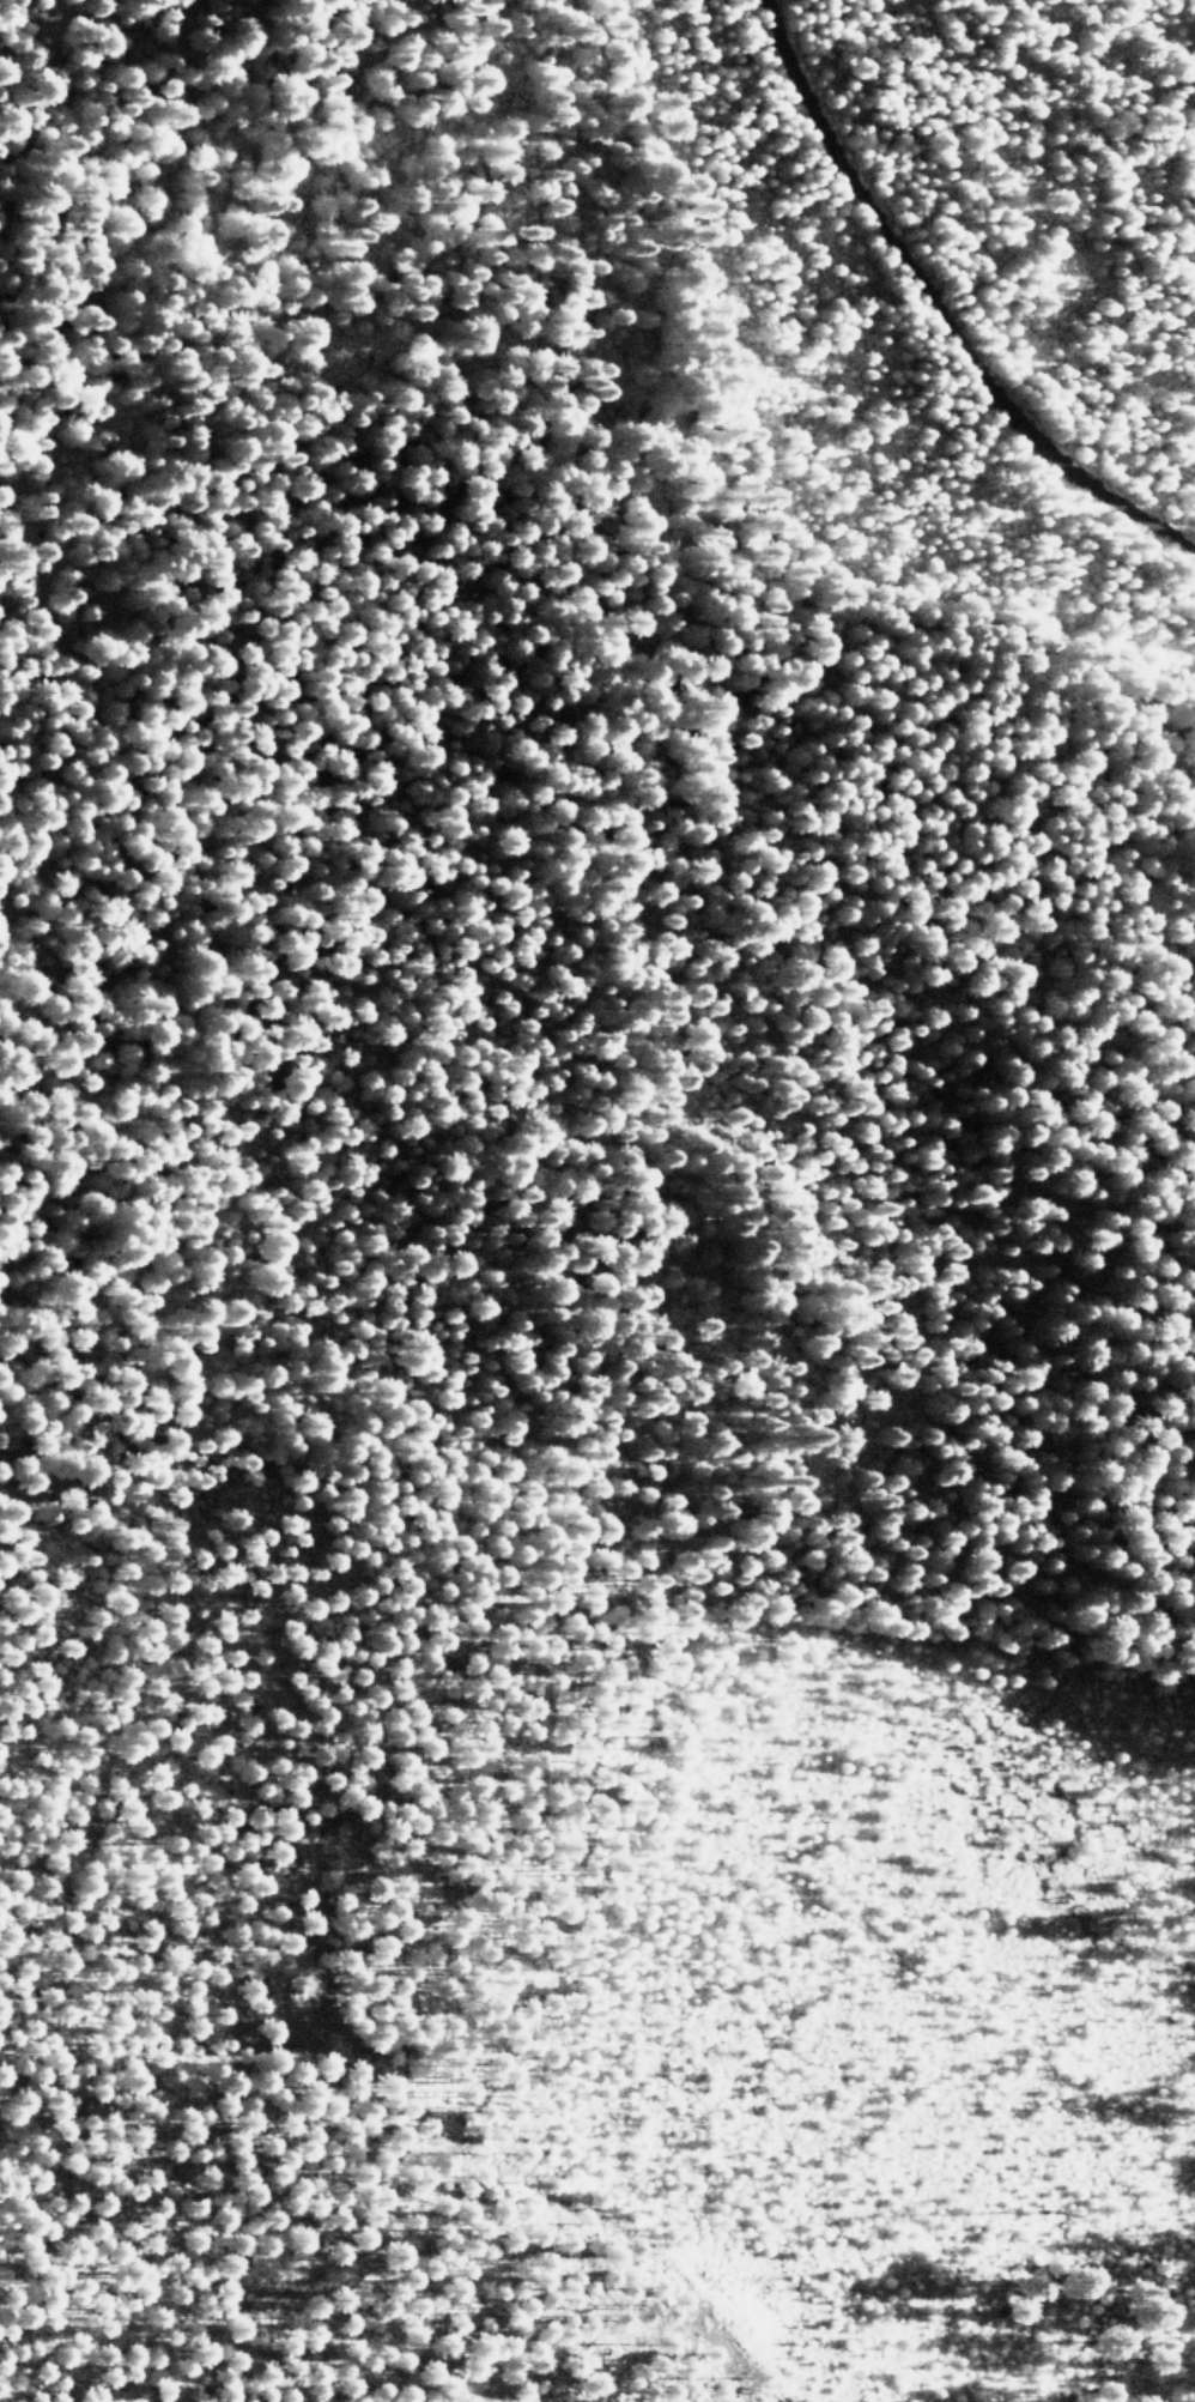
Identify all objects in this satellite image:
road: (935, 314)

